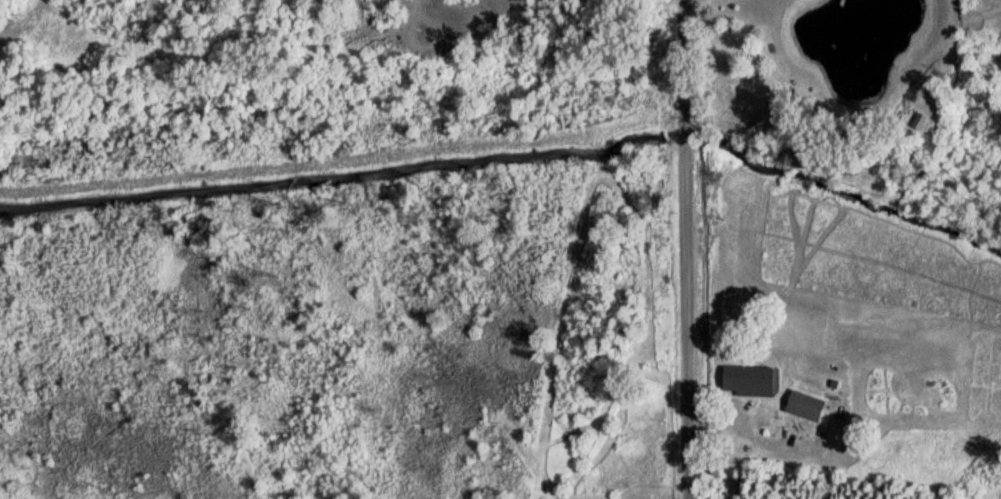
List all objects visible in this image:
building: (914, 127)
road: (685, 249)
building: (746, 385)
building: (800, 411)

